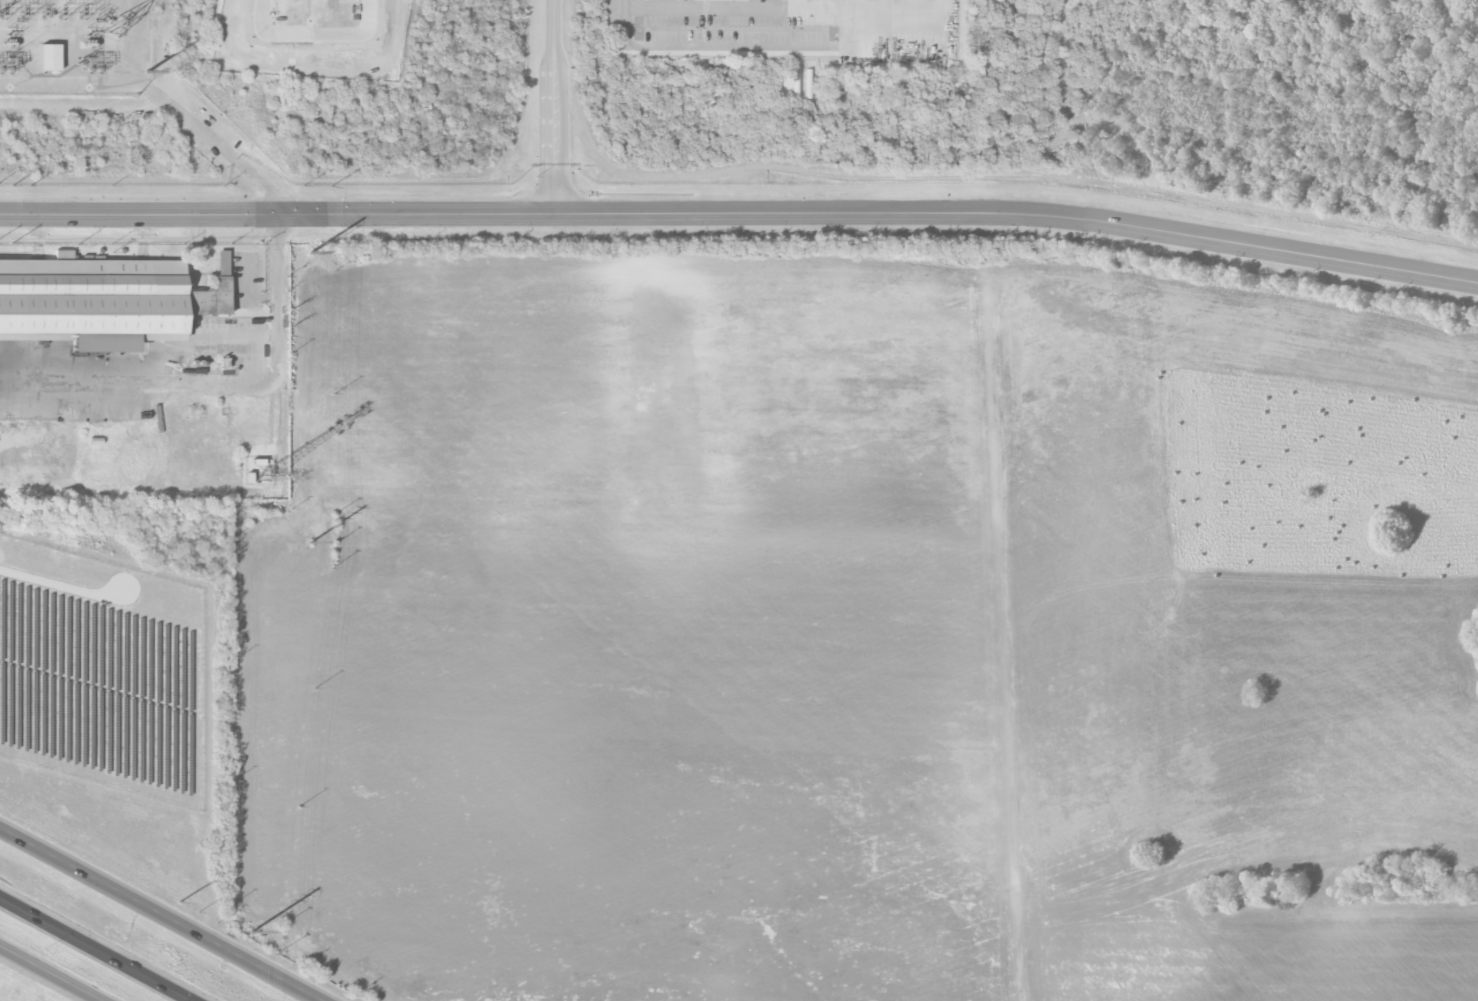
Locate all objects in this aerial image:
road: (914, 3)
road: (948, 3)
road: (707, 7)
road: (868, 7)
road: (857, 33)
power substation: (75, 46)
road: (708, 48)
building: (51, 57)
power tower: (148, 71)
road: (554, 107)
road: (219, 145)
road: (741, 214)
power tower: (311, 252)
building: (214, 292)
building: (93, 296)
road: (217, 388)
power tower: (310, 543)
road: (1004, 607)
road: (160, 916)
power tower: (251, 932)
road: (97, 948)
road: (49, 974)

